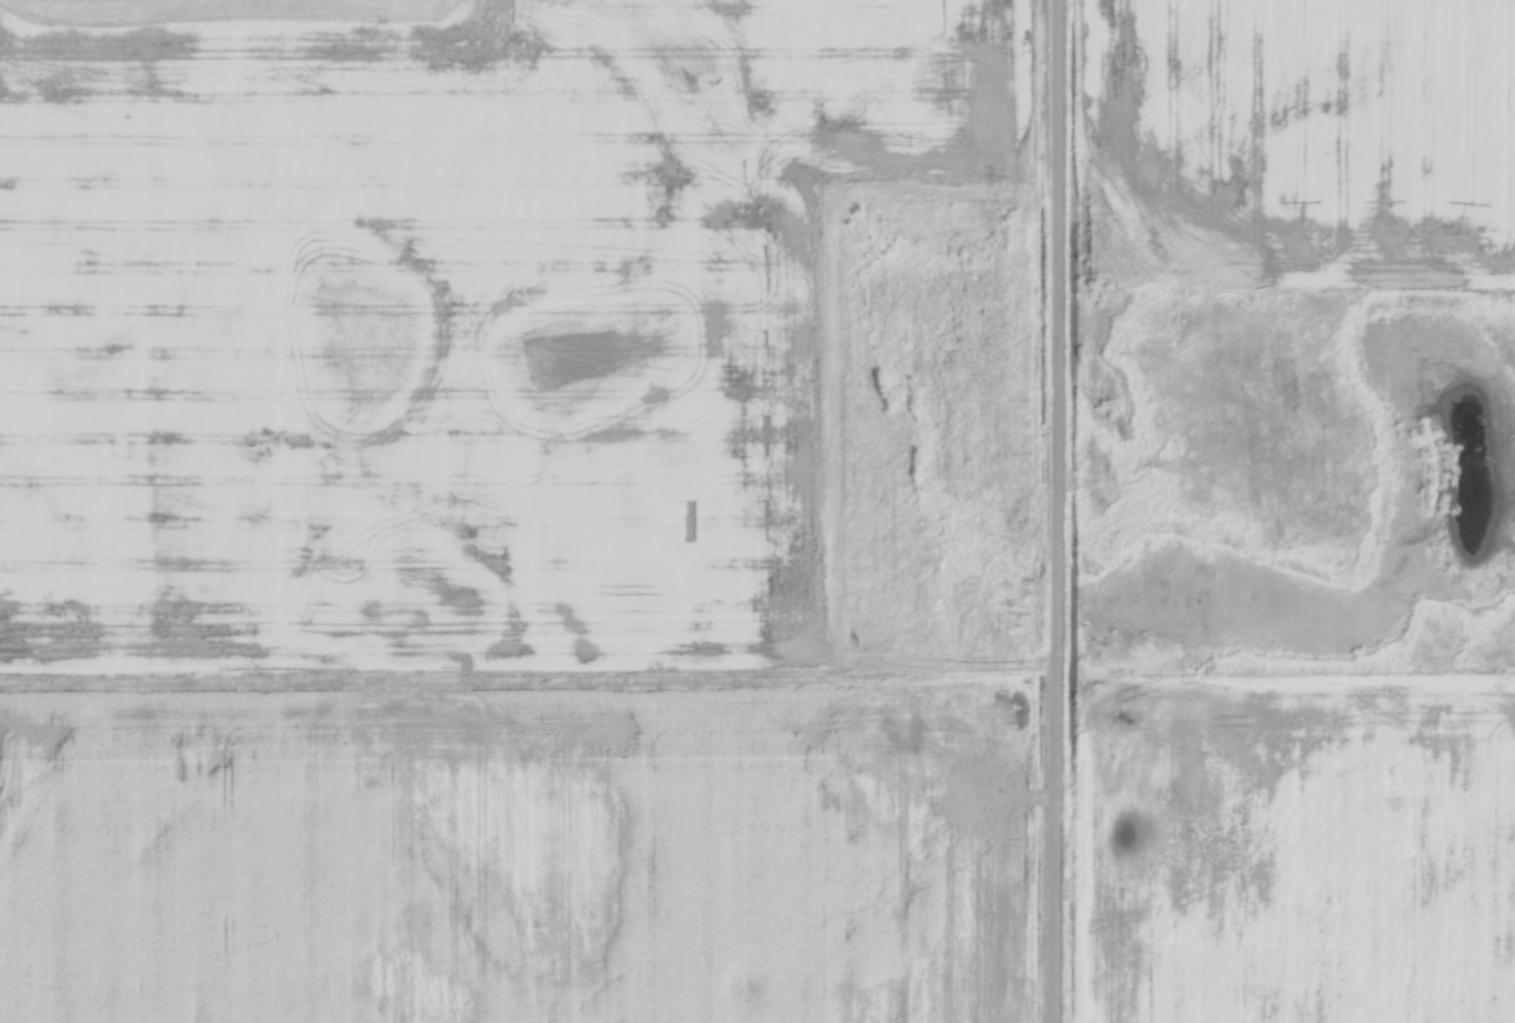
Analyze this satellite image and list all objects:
road: (1057, 511)

